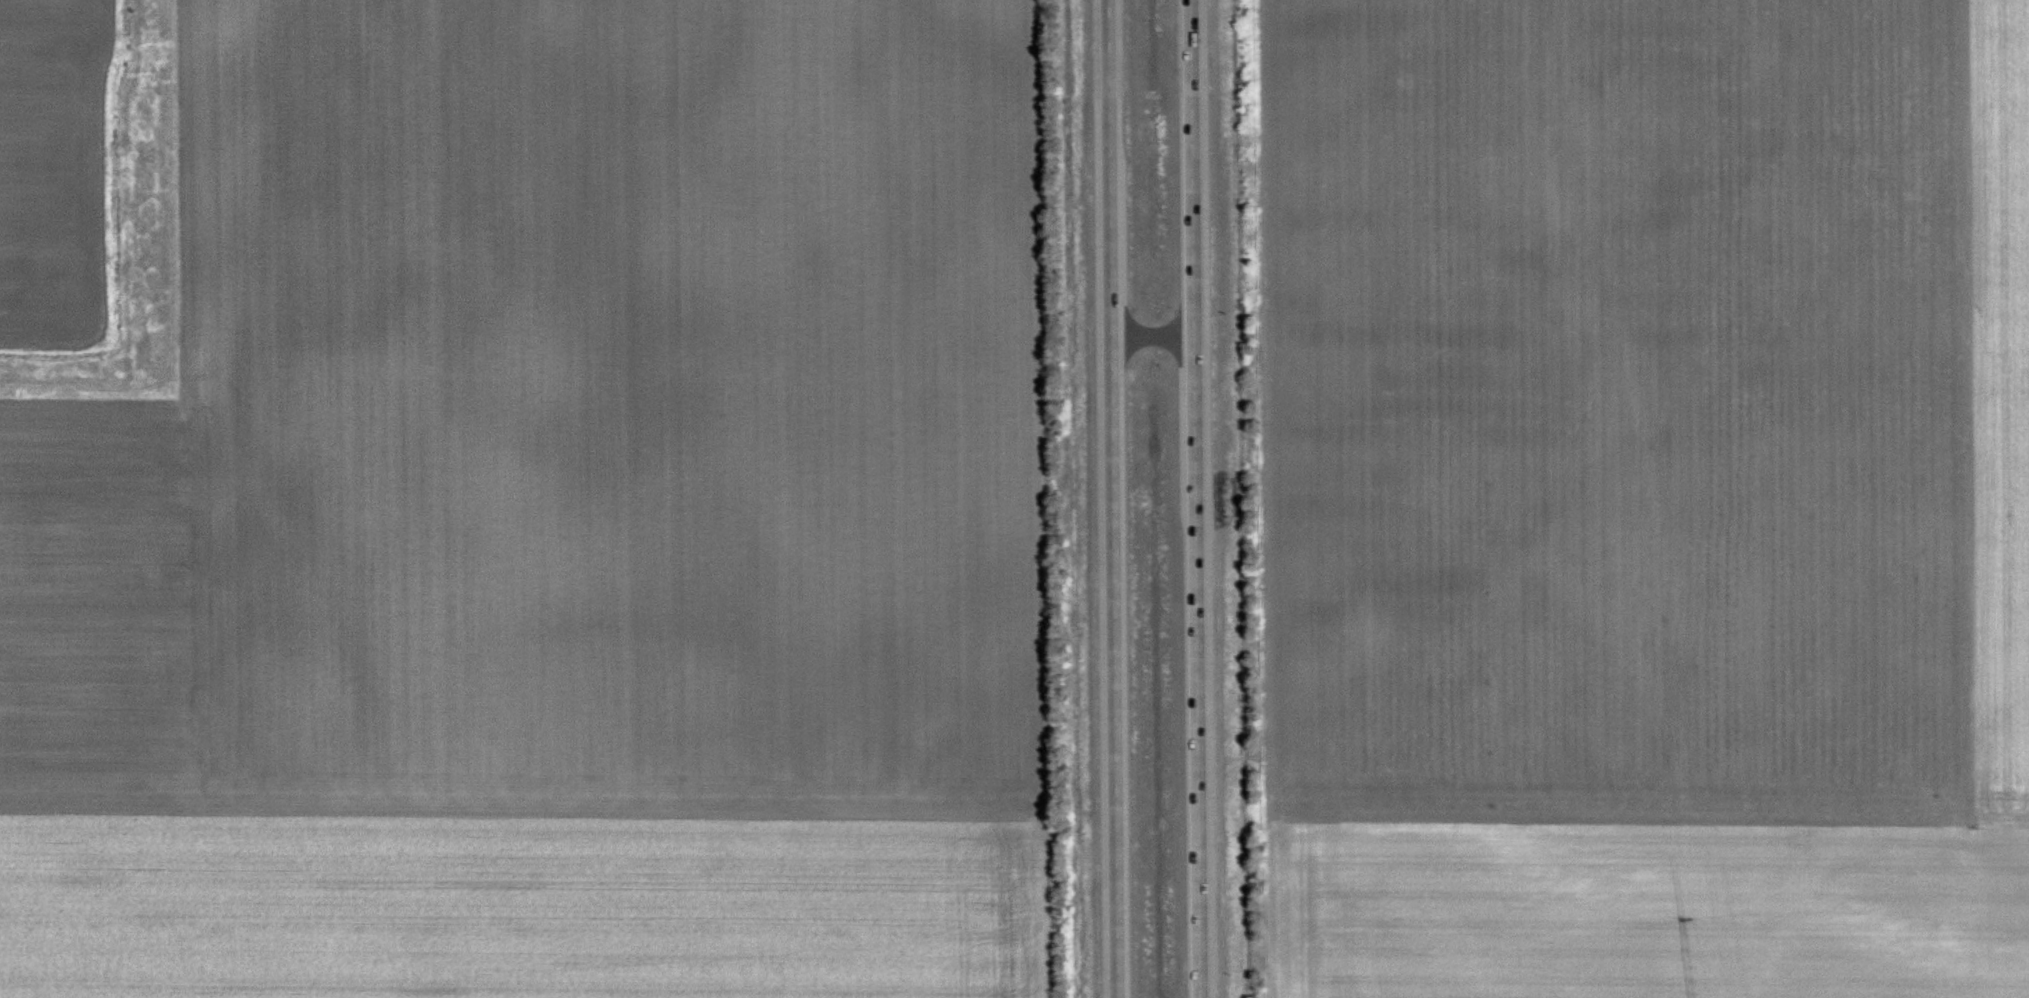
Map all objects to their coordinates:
road: (1148, 326)
road: (1107, 499)
road: (1192, 499)

